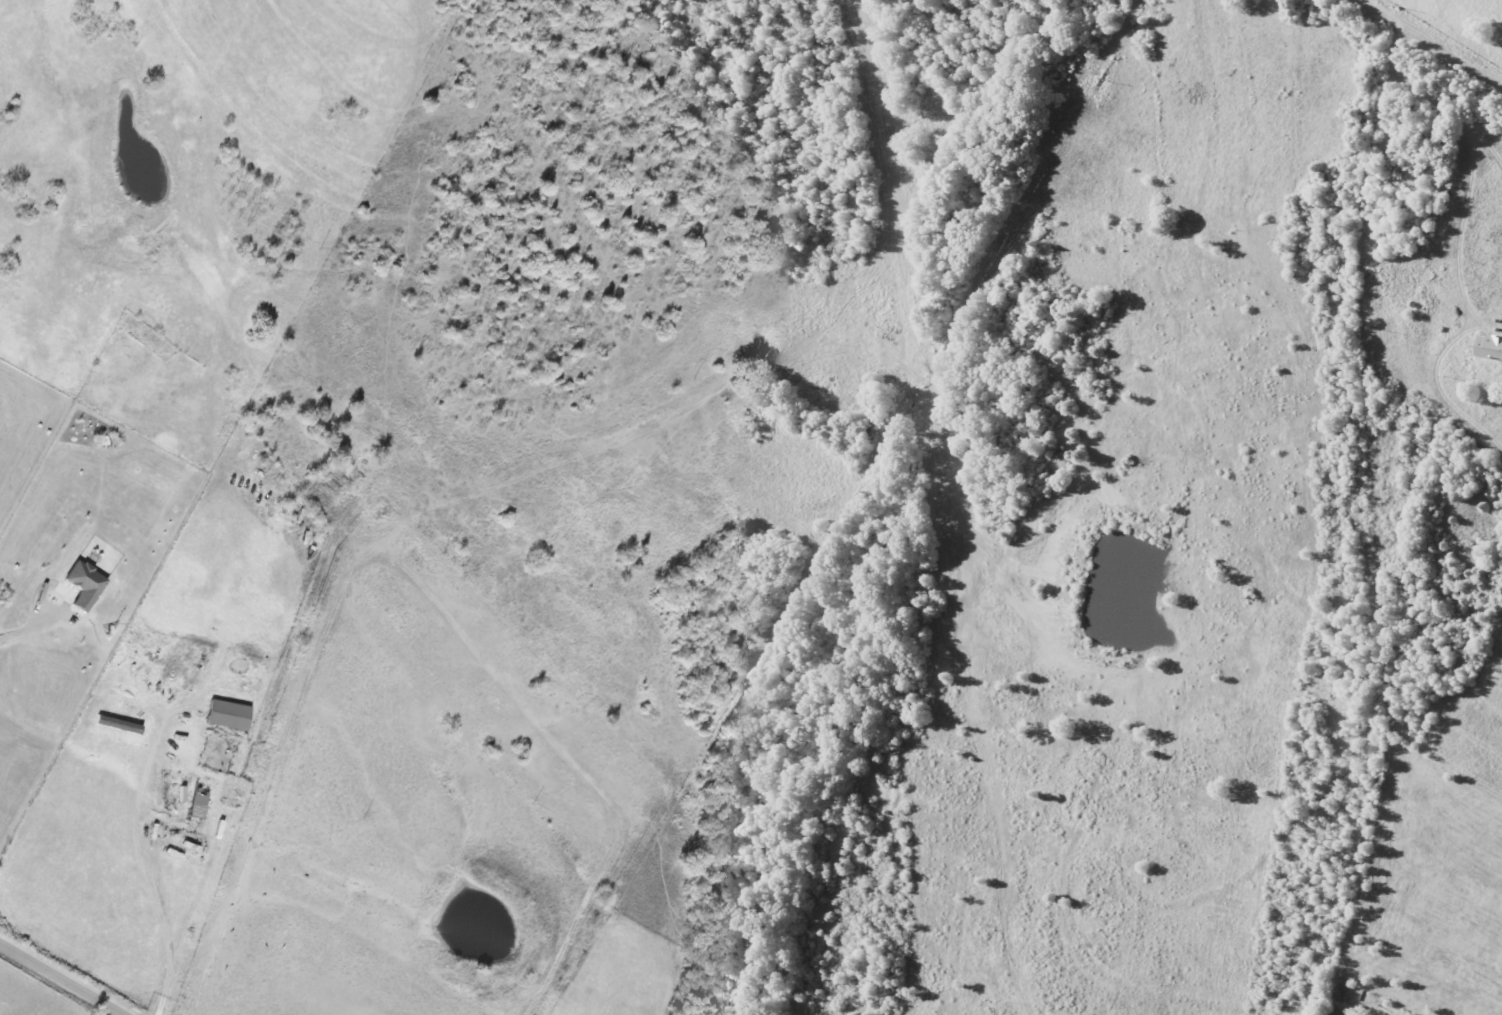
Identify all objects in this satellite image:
road: (1422, 45)
building: (1489, 347)
building: (86, 584)
road: (29, 638)
building: (230, 715)
building: (119, 724)
building: (199, 805)
road: (155, 875)
road: (54, 983)

